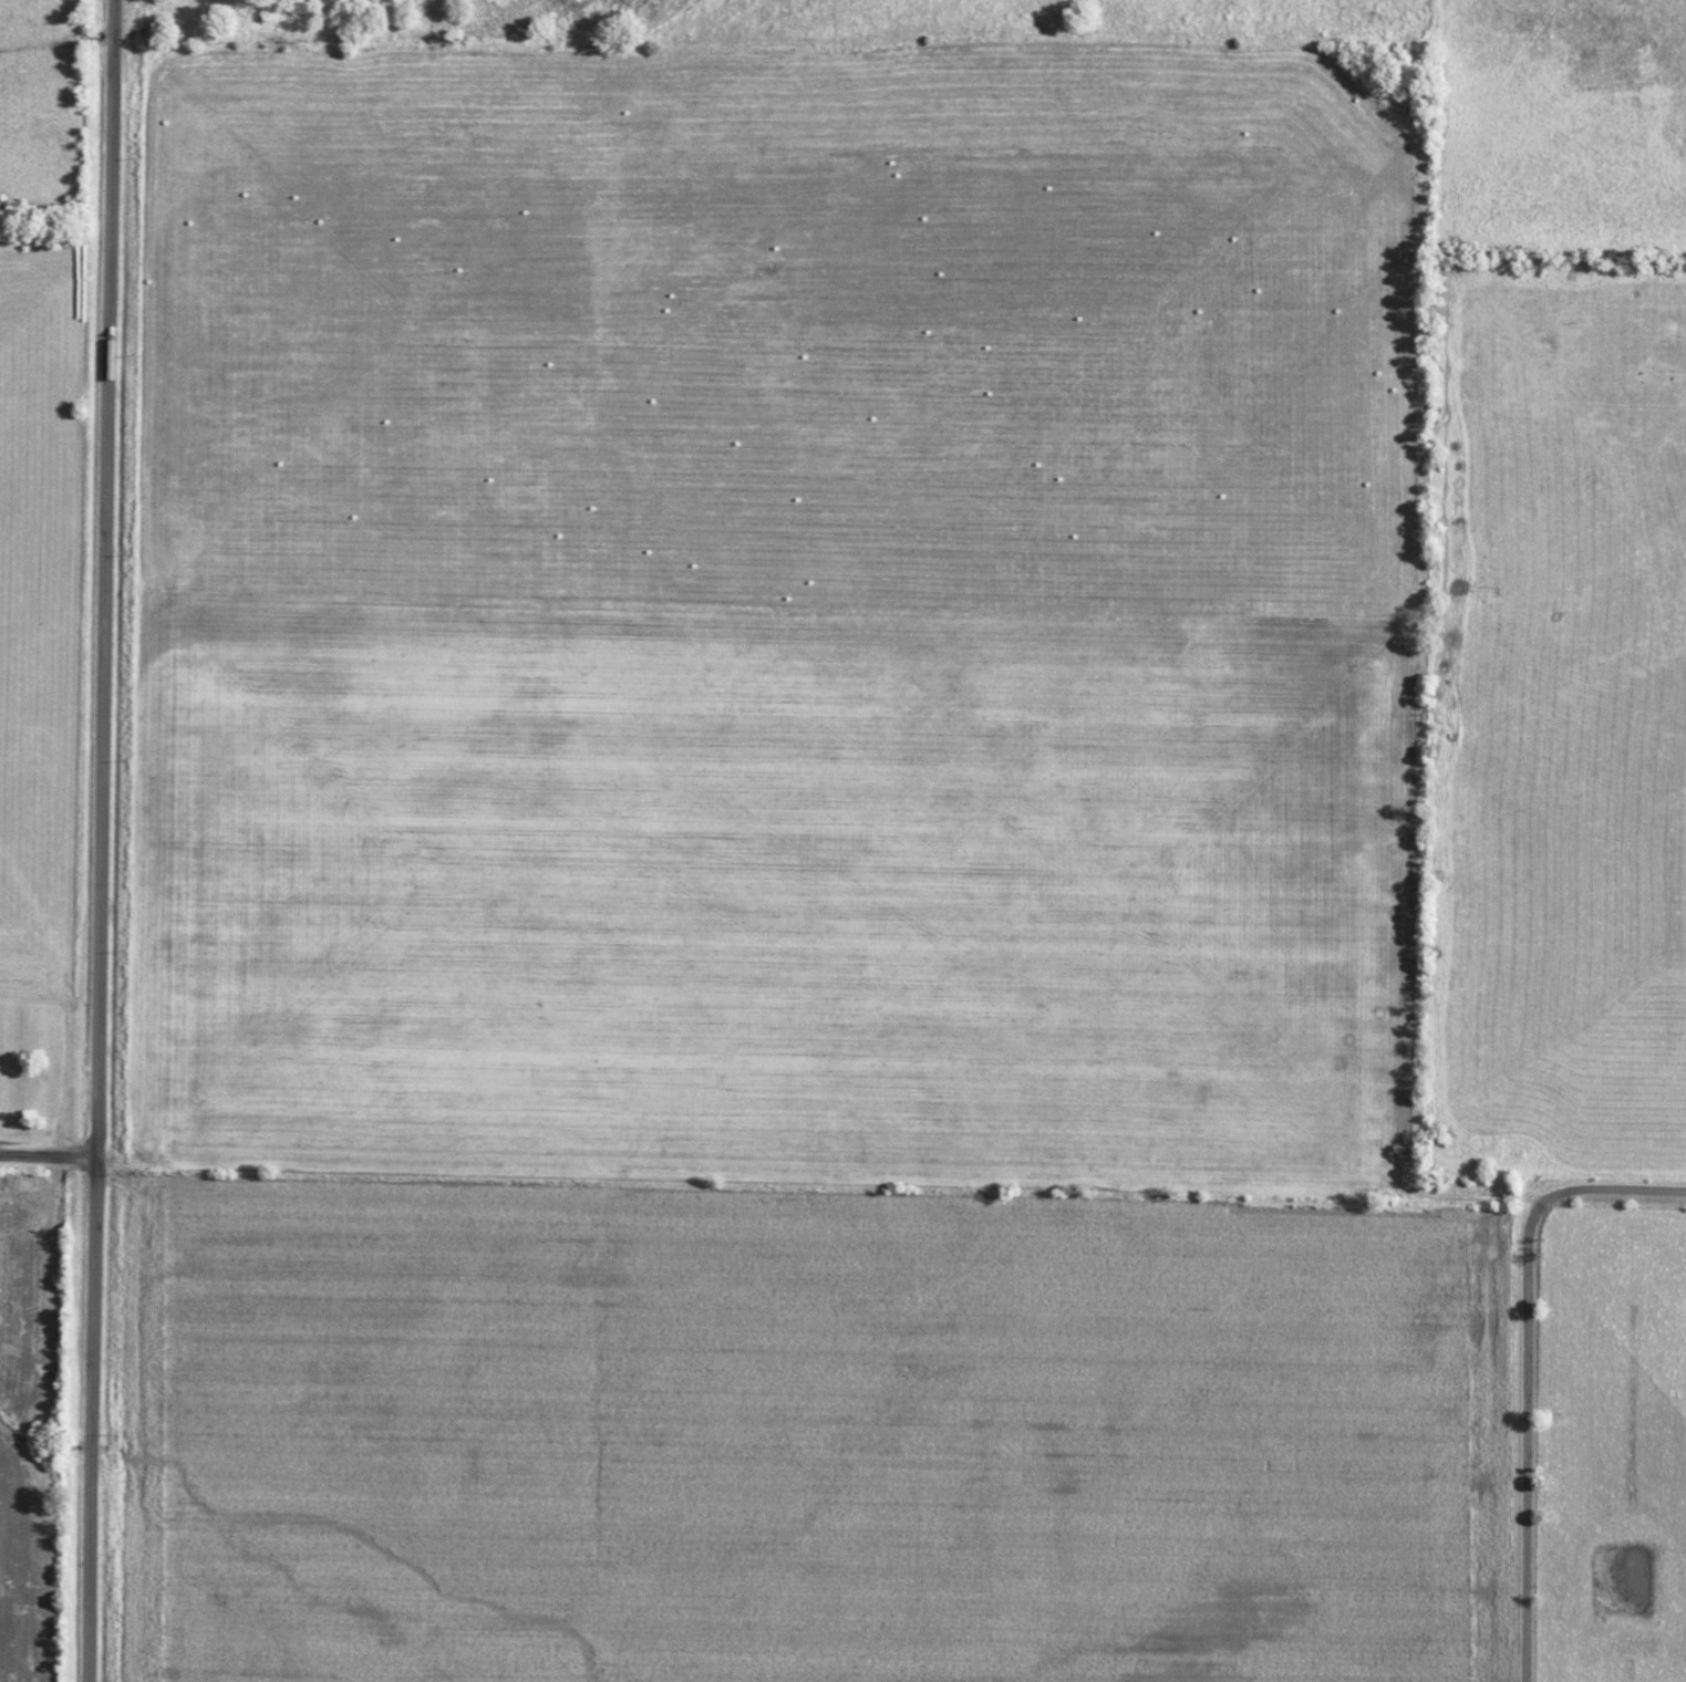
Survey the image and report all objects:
road: (104, 840)
road: (50, 1152)
road: (1654, 1191)
road: (1531, 1399)

